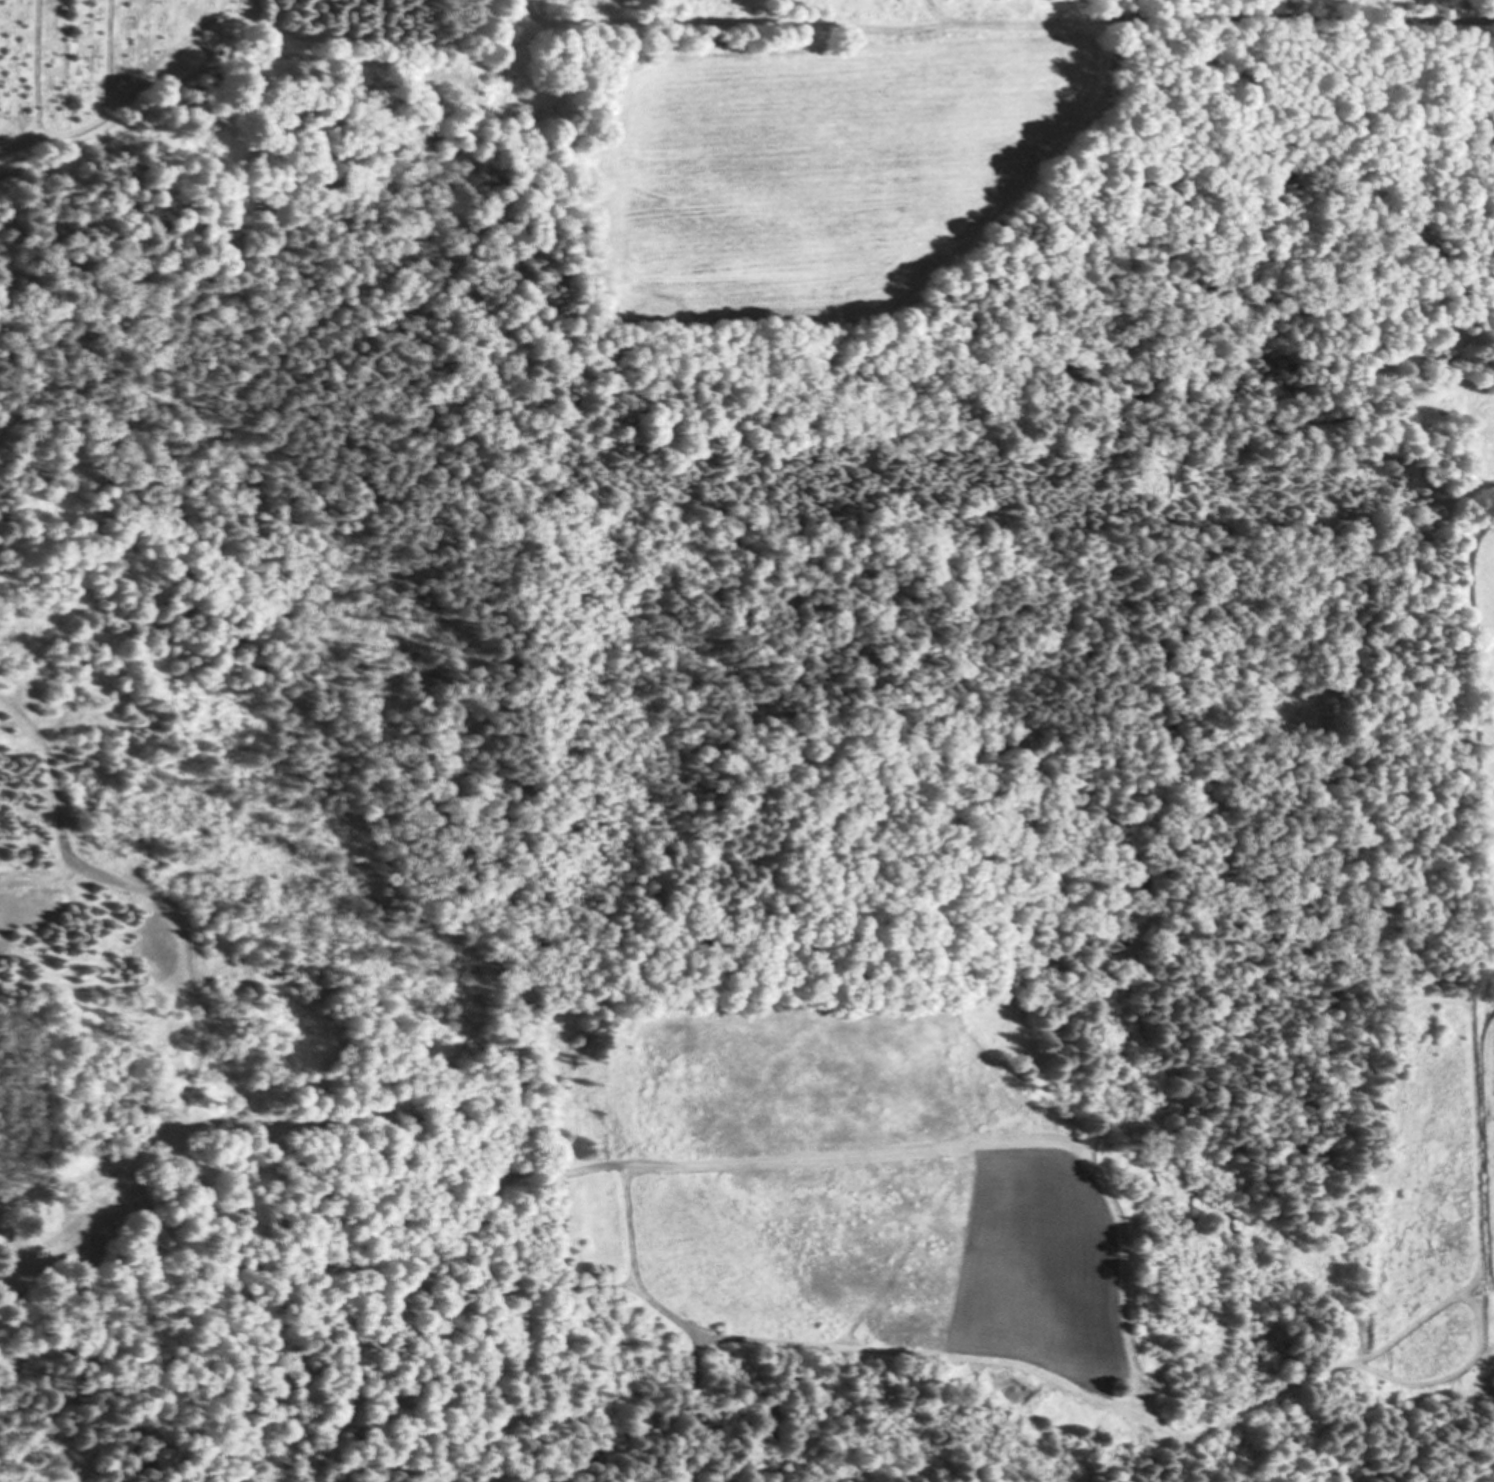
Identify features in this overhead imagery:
road: (1307, 20)

